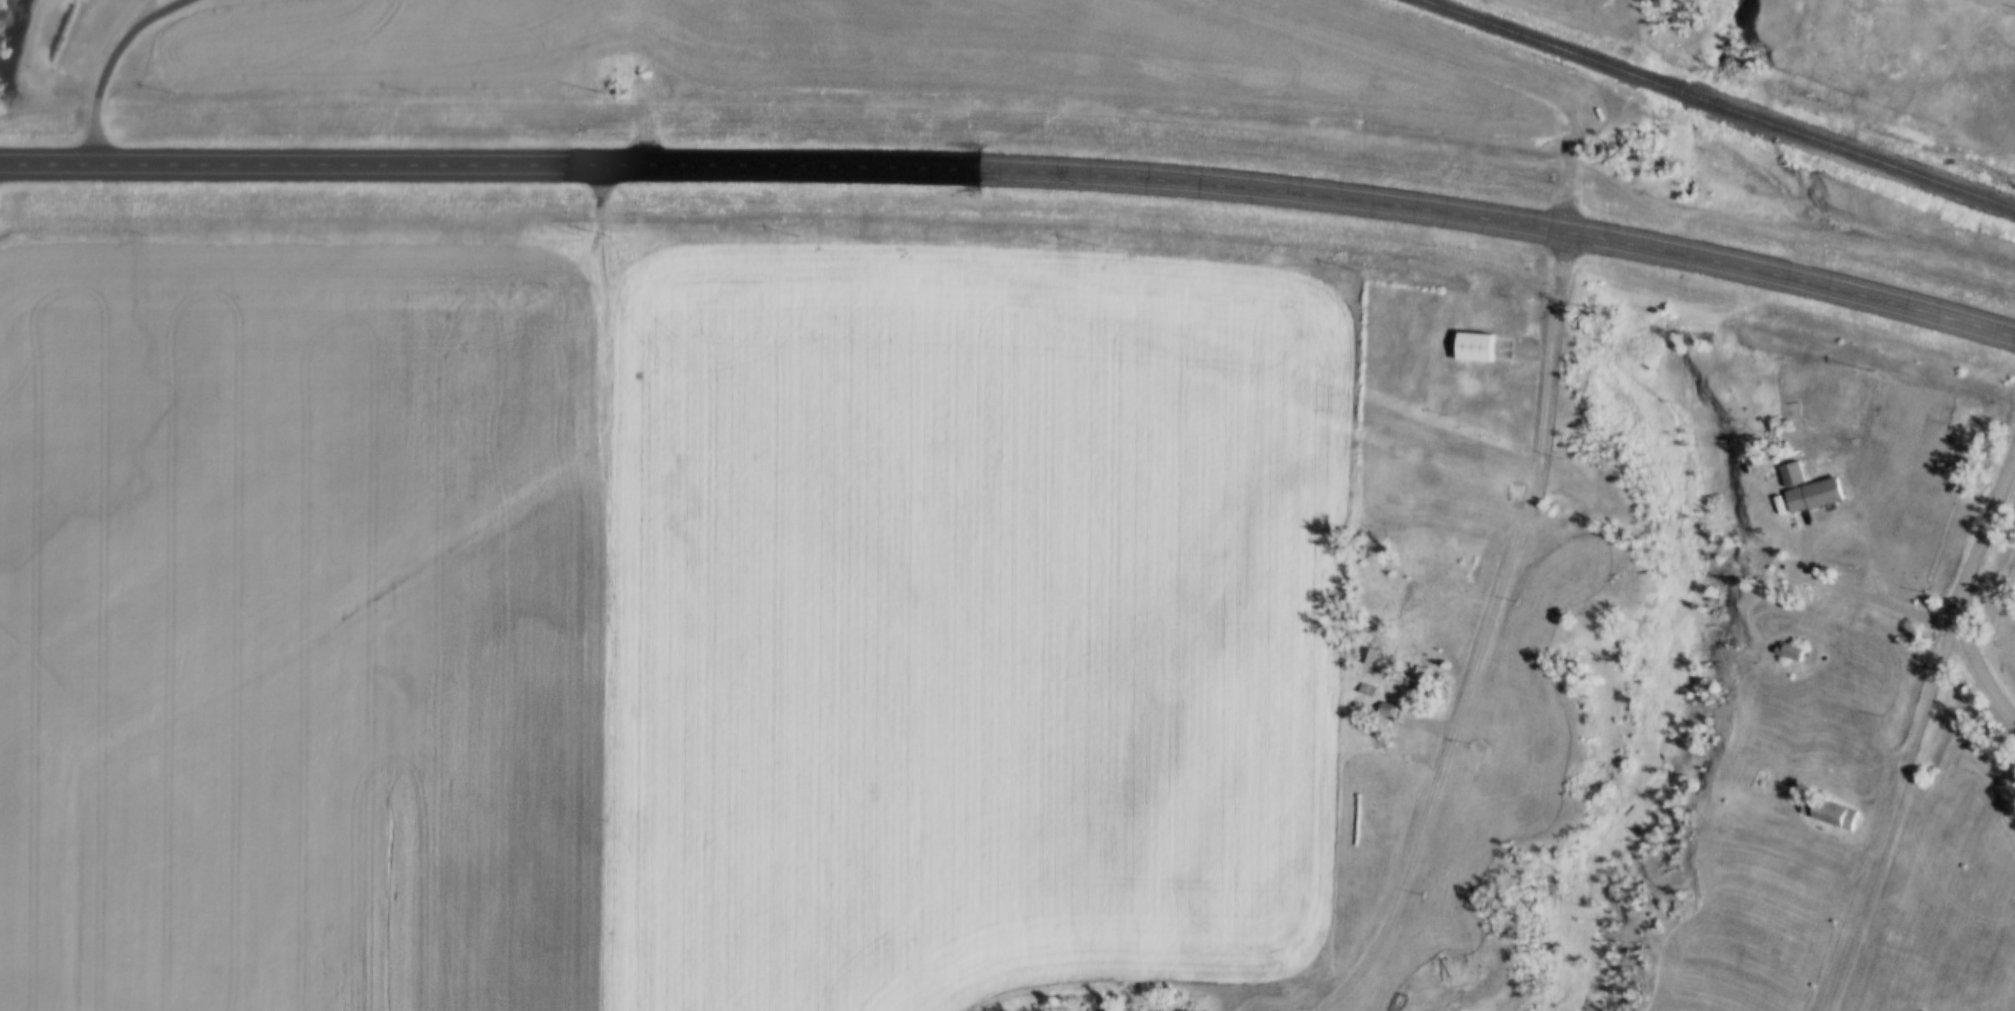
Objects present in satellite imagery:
road: (143, 15)
road: (112, 60)
railway: (1719, 101)
road: (1015, 172)
building: (1481, 348)
building: (1820, 523)
road: (1958, 584)
road: (1836, 590)
road: (1488, 635)
building: (1793, 653)
building: (1369, 657)
building: (1420, 680)
building: (1389, 711)
road: (1897, 811)
building: (1832, 813)

